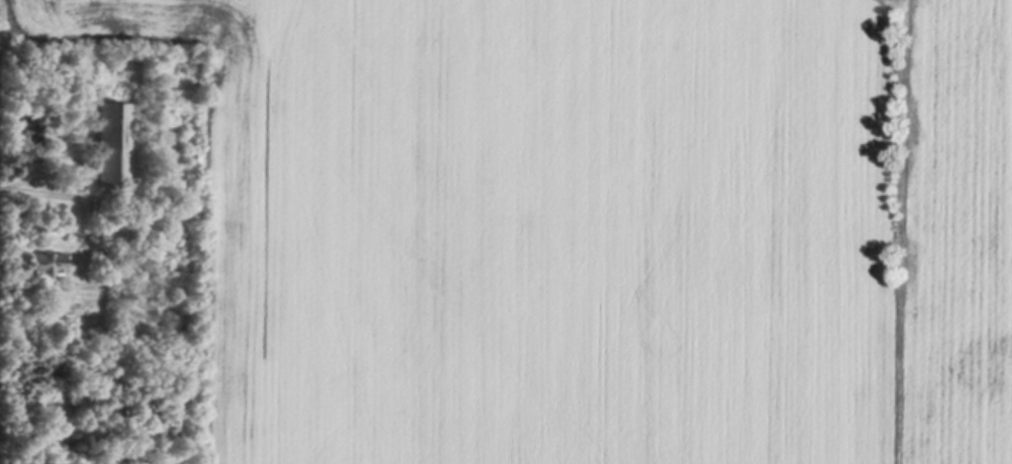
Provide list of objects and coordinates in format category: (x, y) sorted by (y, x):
building: (32, 143)
building: (112, 146)
building: (101, 193)
building: (99, 210)
building: (45, 269)

